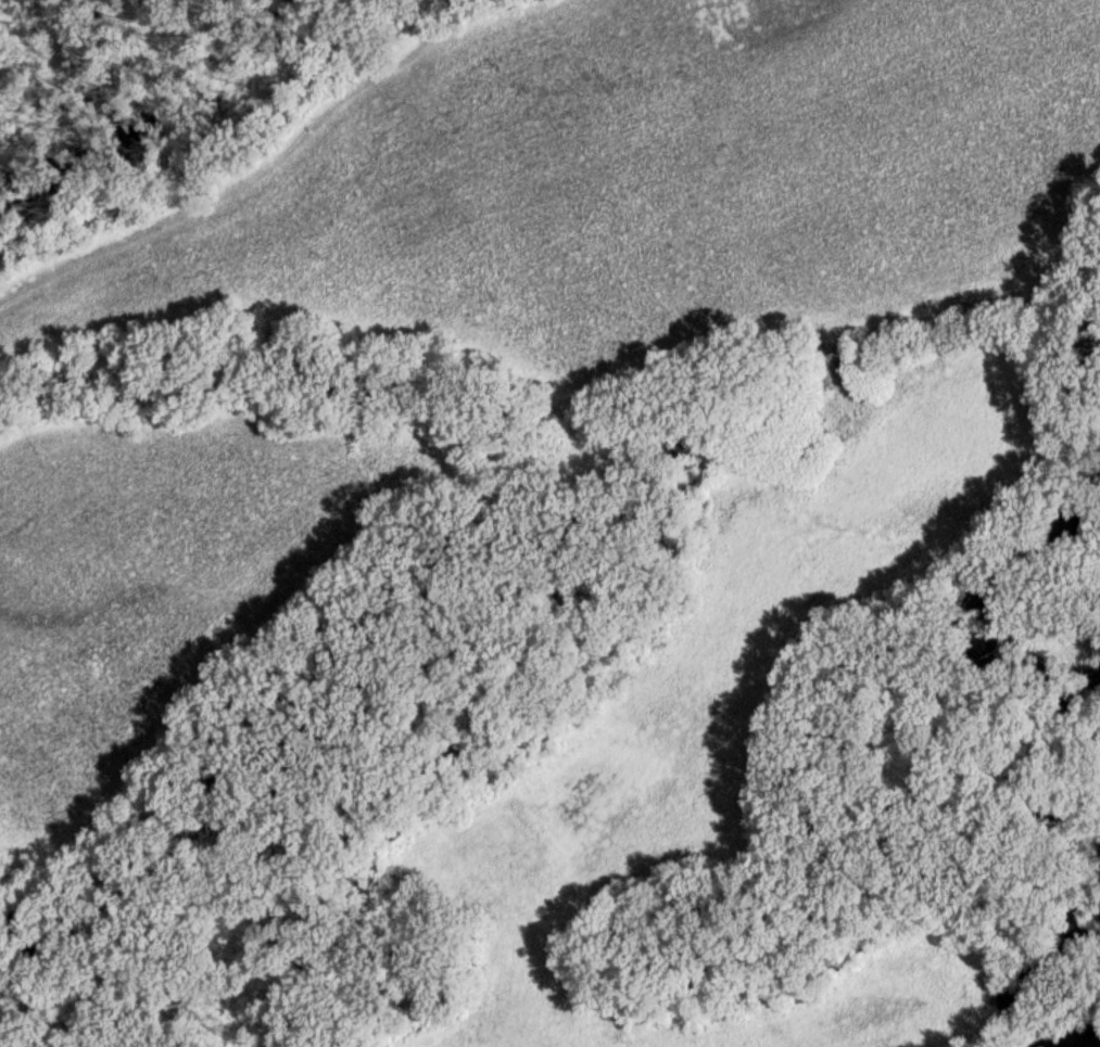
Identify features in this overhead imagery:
river: (1058, 623)

